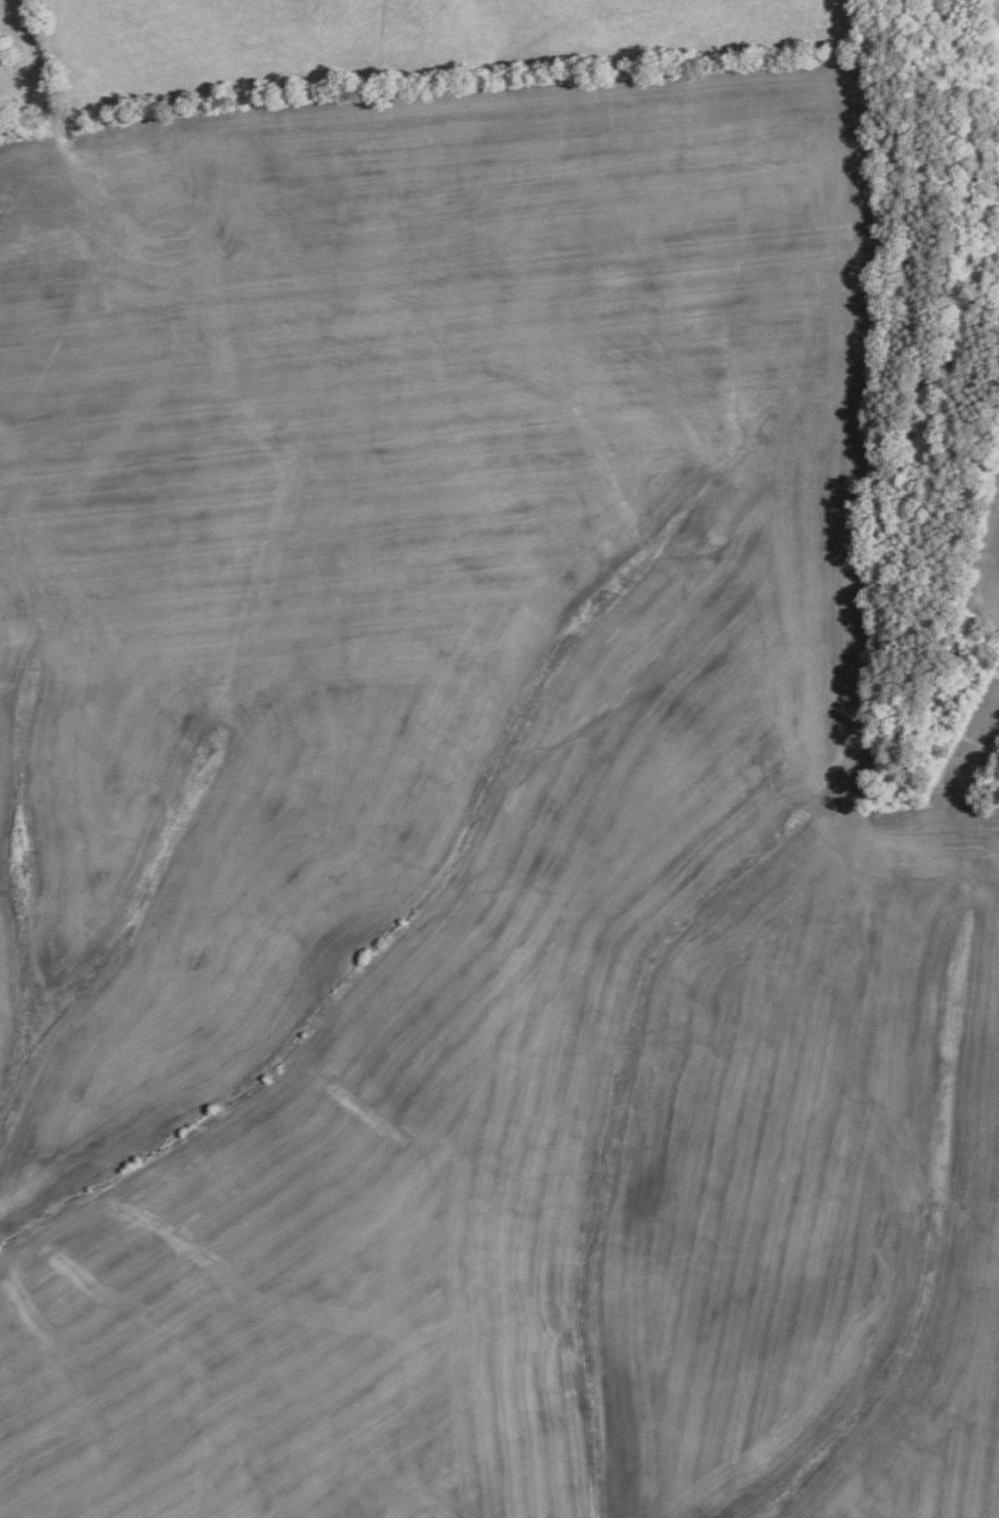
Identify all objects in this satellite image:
crop: (995, 20)
road: (39, 70)
crop: (990, 558)
crop: (477, 830)

